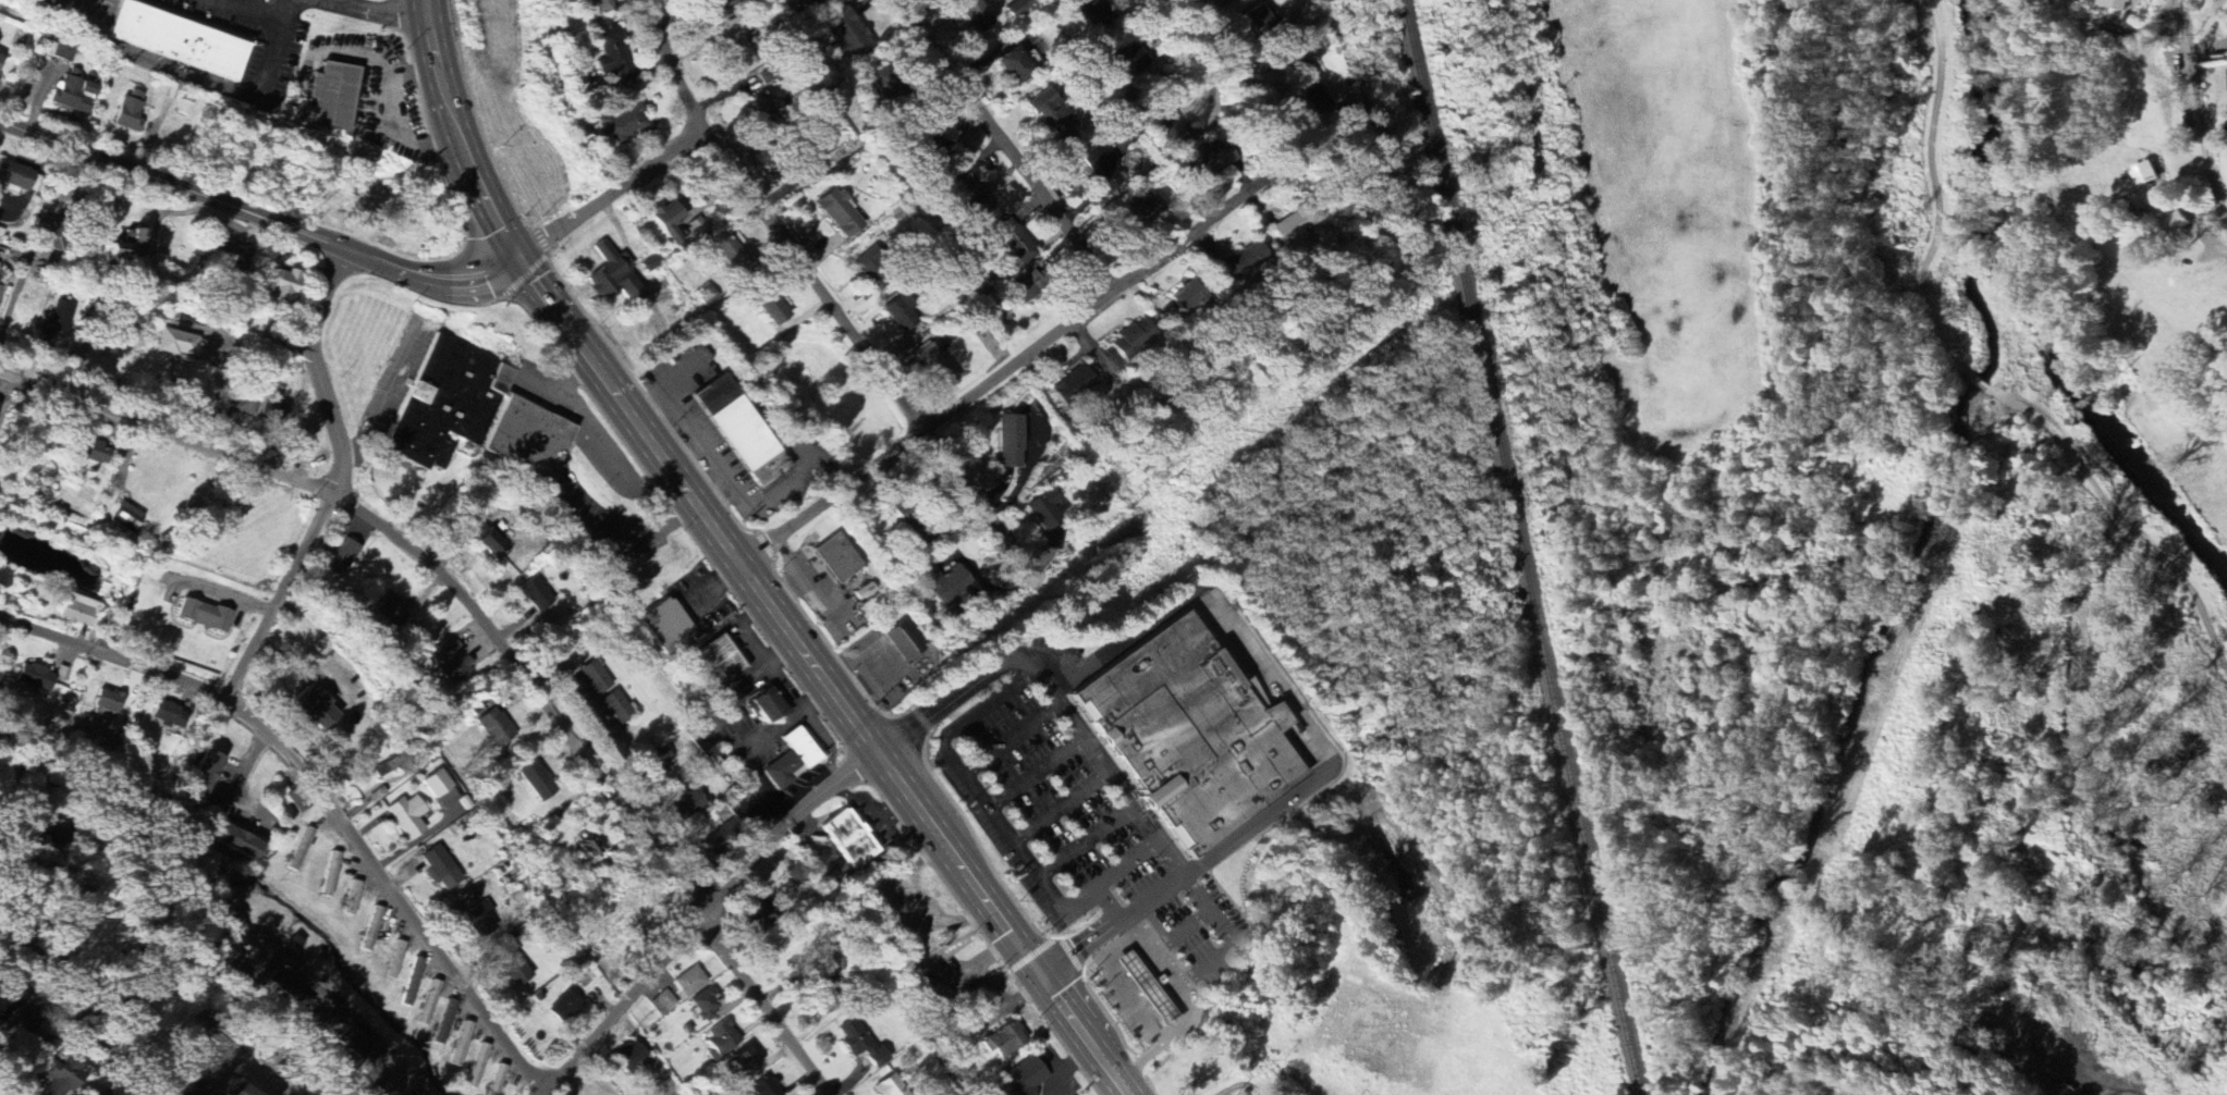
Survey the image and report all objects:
building: (808, 2)
building: (724, 4)
building: (2115, 4)
building: (599, 7)
road: (374, 10)
road: (248, 11)
building: (1092, 13)
building: (976, 15)
building: (1258, 21)
building: (846, 37)
building: (178, 39)
building: (737, 48)
building: (613, 56)
building: (1130, 58)
building: (0, 59)
road: (675, 64)
building: (1015, 65)
road: (192, 77)
road: (1245, 77)
building: (886, 85)
building: (73, 94)
building: (1312, 96)
building: (334, 97)
building: (766, 111)
building: (130, 112)
road: (2198, 113)
building: (1054, 118)
road: (391, 120)
building: (624, 124)
building: (1168, 131)
road: (1006, 146)
building: (930, 148)
building: (1207, 163)
building: (1102, 168)
building: (2145, 175)
building: (15, 176)
road: (1937, 192)
road: (611, 194)
building: (968, 197)
building: (839, 214)
road: (257, 216)
building: (1140, 216)
building: (670, 221)
building: (1295, 224)
building: (2176, 226)
building: (694, 229)
power tower: (1900, 239)
building: (1014, 243)
building: (130, 248)
building: (729, 253)
building: (223, 256)
building: (1240, 262)
building: (613, 278)
building: (281, 286)
building: (1026, 288)
building: (1188, 298)
building: (773, 310)
building: (902, 315)
building: (56, 323)
building: (1133, 340)
road: (1044, 343)
building: (178, 344)
road: (876, 361)
building: (938, 365)
park: (1973, 365)
road: (1977, 380)
road: (220, 382)
building: (1072, 386)
building: (245, 404)
building: (274, 409)
road: (683, 418)
building: (741, 430)
building: (1008, 442)
building: (91, 451)
road: (337, 482)
road: (771, 491)
building: (1042, 512)
building: (127, 517)
road: (2118, 520)
building: (913, 524)
building: (493, 546)
railway: (1520, 547)
building: (343, 558)
building: (837, 558)
road: (732, 566)
building: (944, 583)
road: (220, 592)
building: (536, 595)
building: (390, 610)
building: (78, 611)
building: (204, 615)
building: (665, 626)
road: (497, 631)
building: (904, 642)
building: (451, 662)
building: (717, 664)
road: (1269, 676)
building: (35, 677)
building: (595, 678)
road: (342, 689)
building: (108, 702)
building: (768, 706)
building: (616, 708)
building: (315, 709)
building: (169, 716)
building: (494, 728)
building: (792, 760)
building: (657, 763)
road: (1102, 765)
building: (205, 773)
building: (537, 782)
road: (325, 789)
building: (441, 790)
building: (686, 803)
building: (407, 816)
building: (47, 832)
building: (849, 839)
building: (238, 844)
building: (589, 849)
road: (3, 858)
building: (440, 870)
building: (352, 898)
road: (1210, 910)
road: (702, 919)
building: (479, 921)
road: (1157, 958)
road: (196, 960)
road: (1213, 963)
building: (516, 971)
building: (412, 983)
building: (688, 984)
building: (285, 987)
road: (330, 989)
building: (1149, 992)
building: (822, 996)
road: (1188, 1001)
building: (429, 1004)
building: (663, 1004)
building: (705, 1005)
building: (565, 1007)
building: (16, 1013)
road: (84, 1022)
building: (443, 1023)
building: (1007, 1039)
building: (721, 1041)
building: (353, 1044)
building: (461, 1045)
building: (861, 1045)
road: (1161, 1045)
building: (631, 1059)
building: (743, 1062)
building: (477, 1067)
building: (395, 1075)
building: (64, 1078)
road: (1124, 1078)
building: (497, 1080)
building: (1020, 1080)
building: (766, 1086)
building: (892, 1086)
building: (237, 1088)
building: (1248, 1094)

